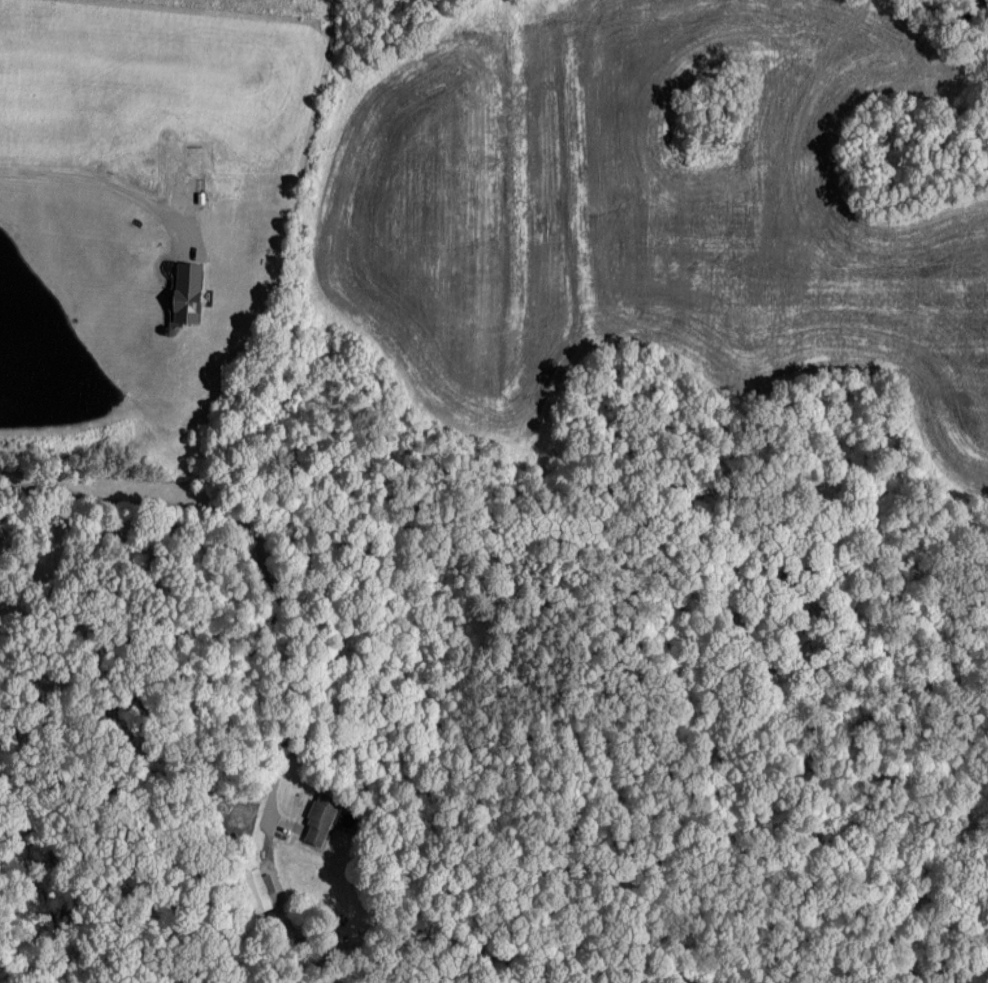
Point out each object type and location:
building: (188, 290)
road: (253, 536)
building: (319, 818)
building: (257, 890)

